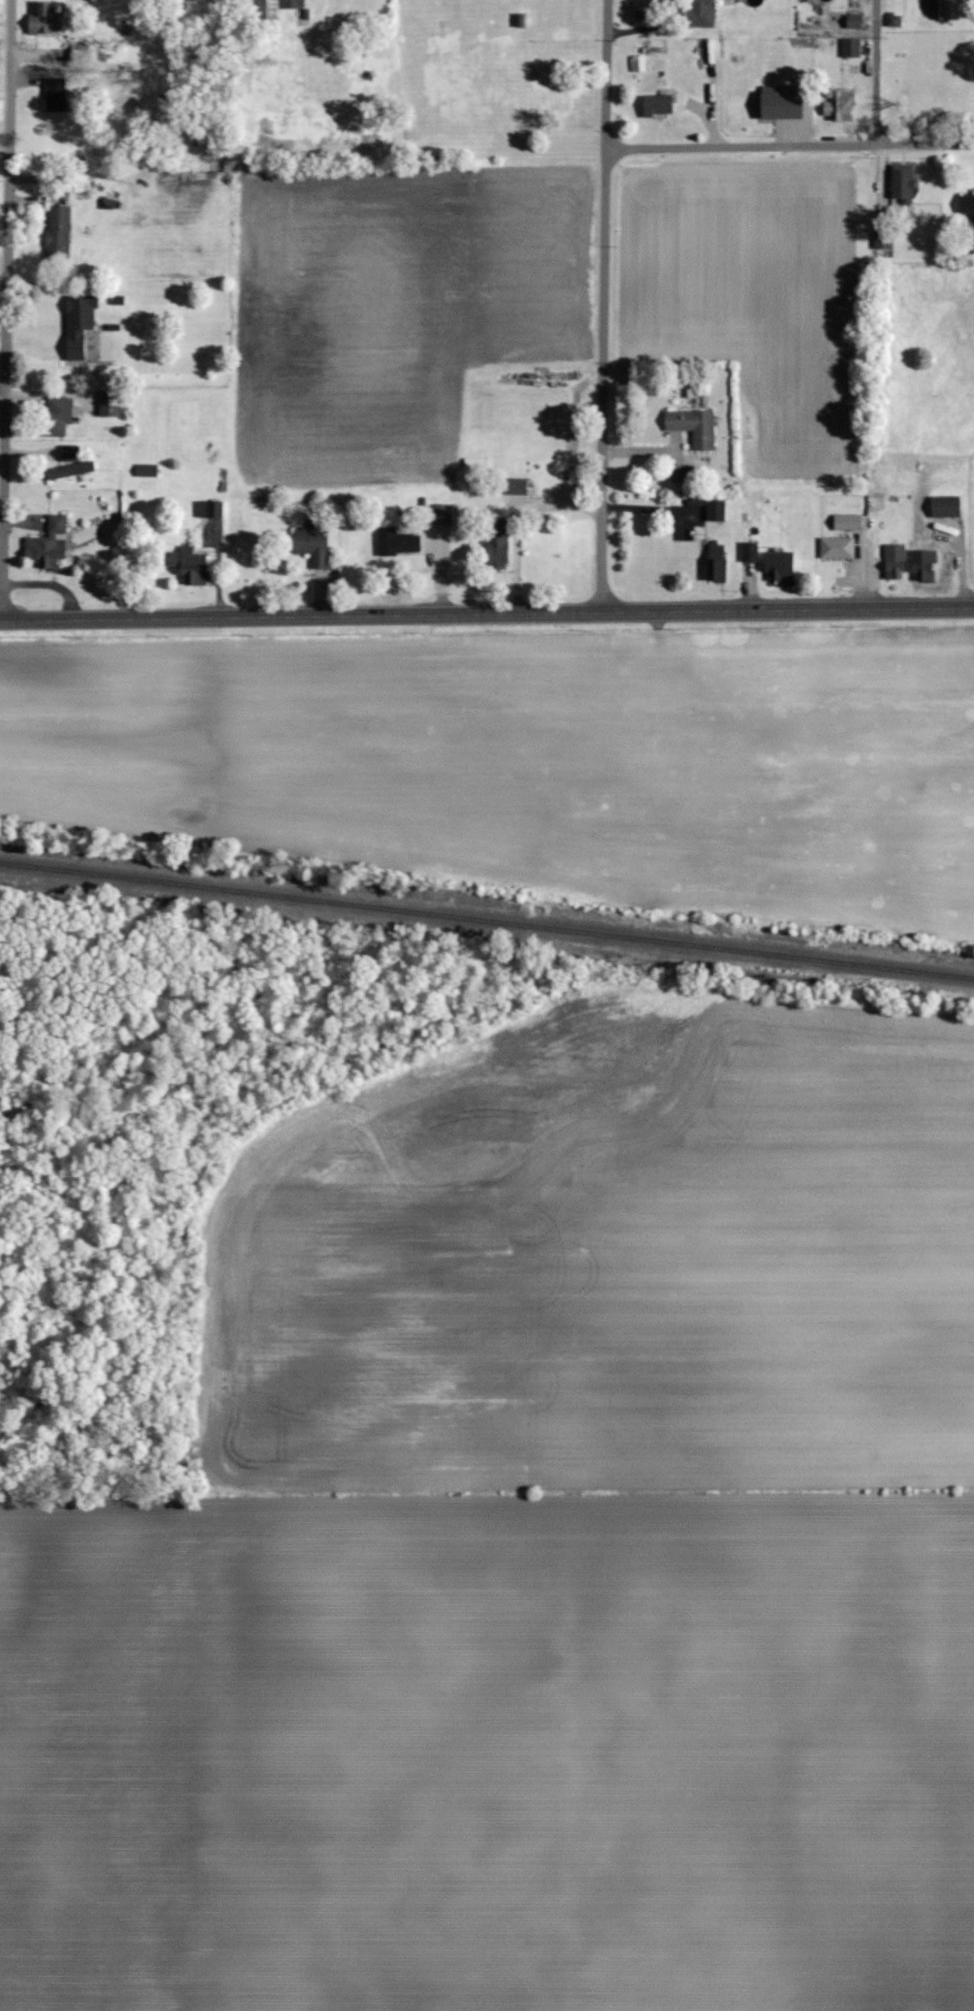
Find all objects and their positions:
building: (642, 2)
building: (275, 8)
building: (946, 9)
building: (698, 13)
building: (45, 21)
building: (521, 21)
building: (854, 21)
building: (851, 48)
road: (877, 72)
building: (55, 95)
building: (657, 105)
building: (781, 105)
building: (838, 105)
road: (789, 145)
building: (901, 184)
building: (967, 204)
building: (58, 234)
building: (882, 240)
road: (605, 302)
road: (11, 308)
building: (78, 325)
building: (110, 405)
building: (55, 417)
building: (693, 427)
building: (66, 465)
building: (514, 487)
building: (945, 507)
building: (210, 510)
building: (715, 511)
building: (443, 515)
building: (848, 523)
building: (314, 543)
building: (397, 543)
building: (497, 544)
building: (48, 546)
building: (836, 548)
building: (749, 552)
building: (716, 561)
building: (894, 562)
building: (923, 566)
building: (190, 567)
building: (779, 568)
road: (486, 608)
railway: (487, 920)

